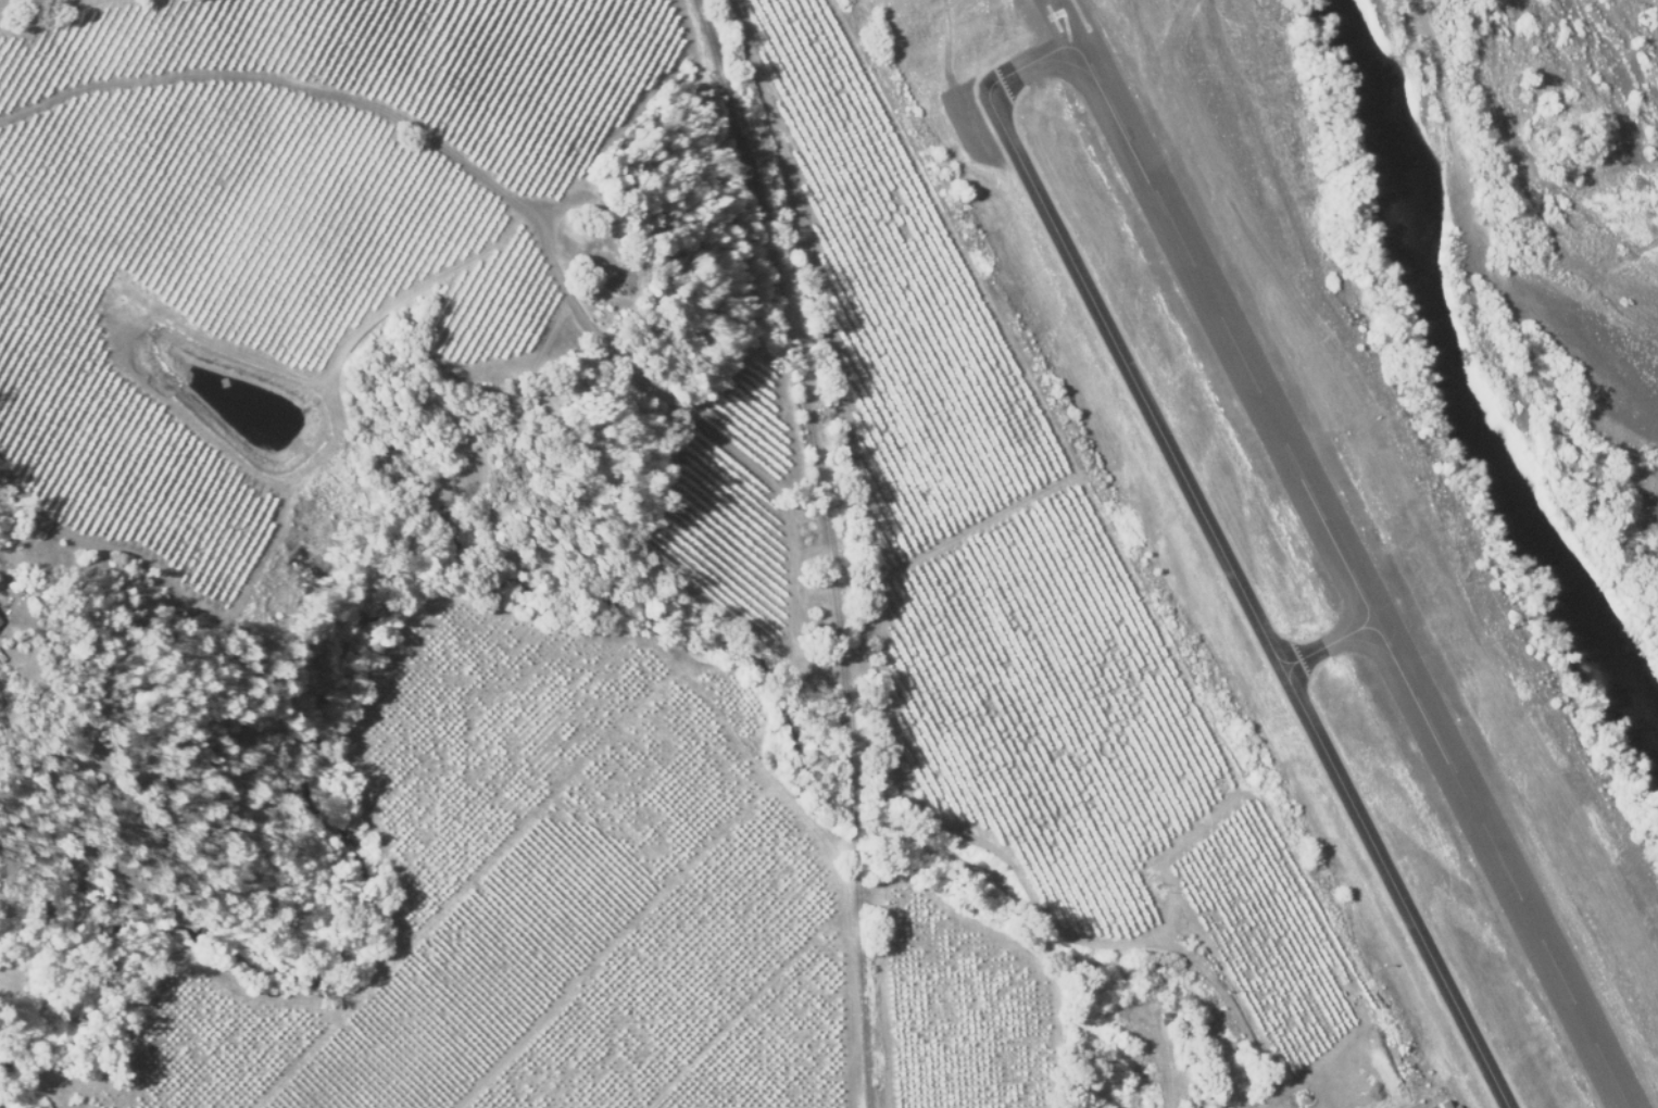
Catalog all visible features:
road: (1172, 36)
road: (505, 196)
river: (1481, 376)
railway: (826, 546)
airport: (1295, 551)
airport runway: (1351, 554)
airport taxiway: (1222, 556)
airport taxiway: (1335, 649)
road: (349, 752)
airport hangar: (1442, 1104)
building: (1442, 1104)
airport apron: (1444, 1104)
airport hangar: (1454, 1107)
building: (1454, 1107)

